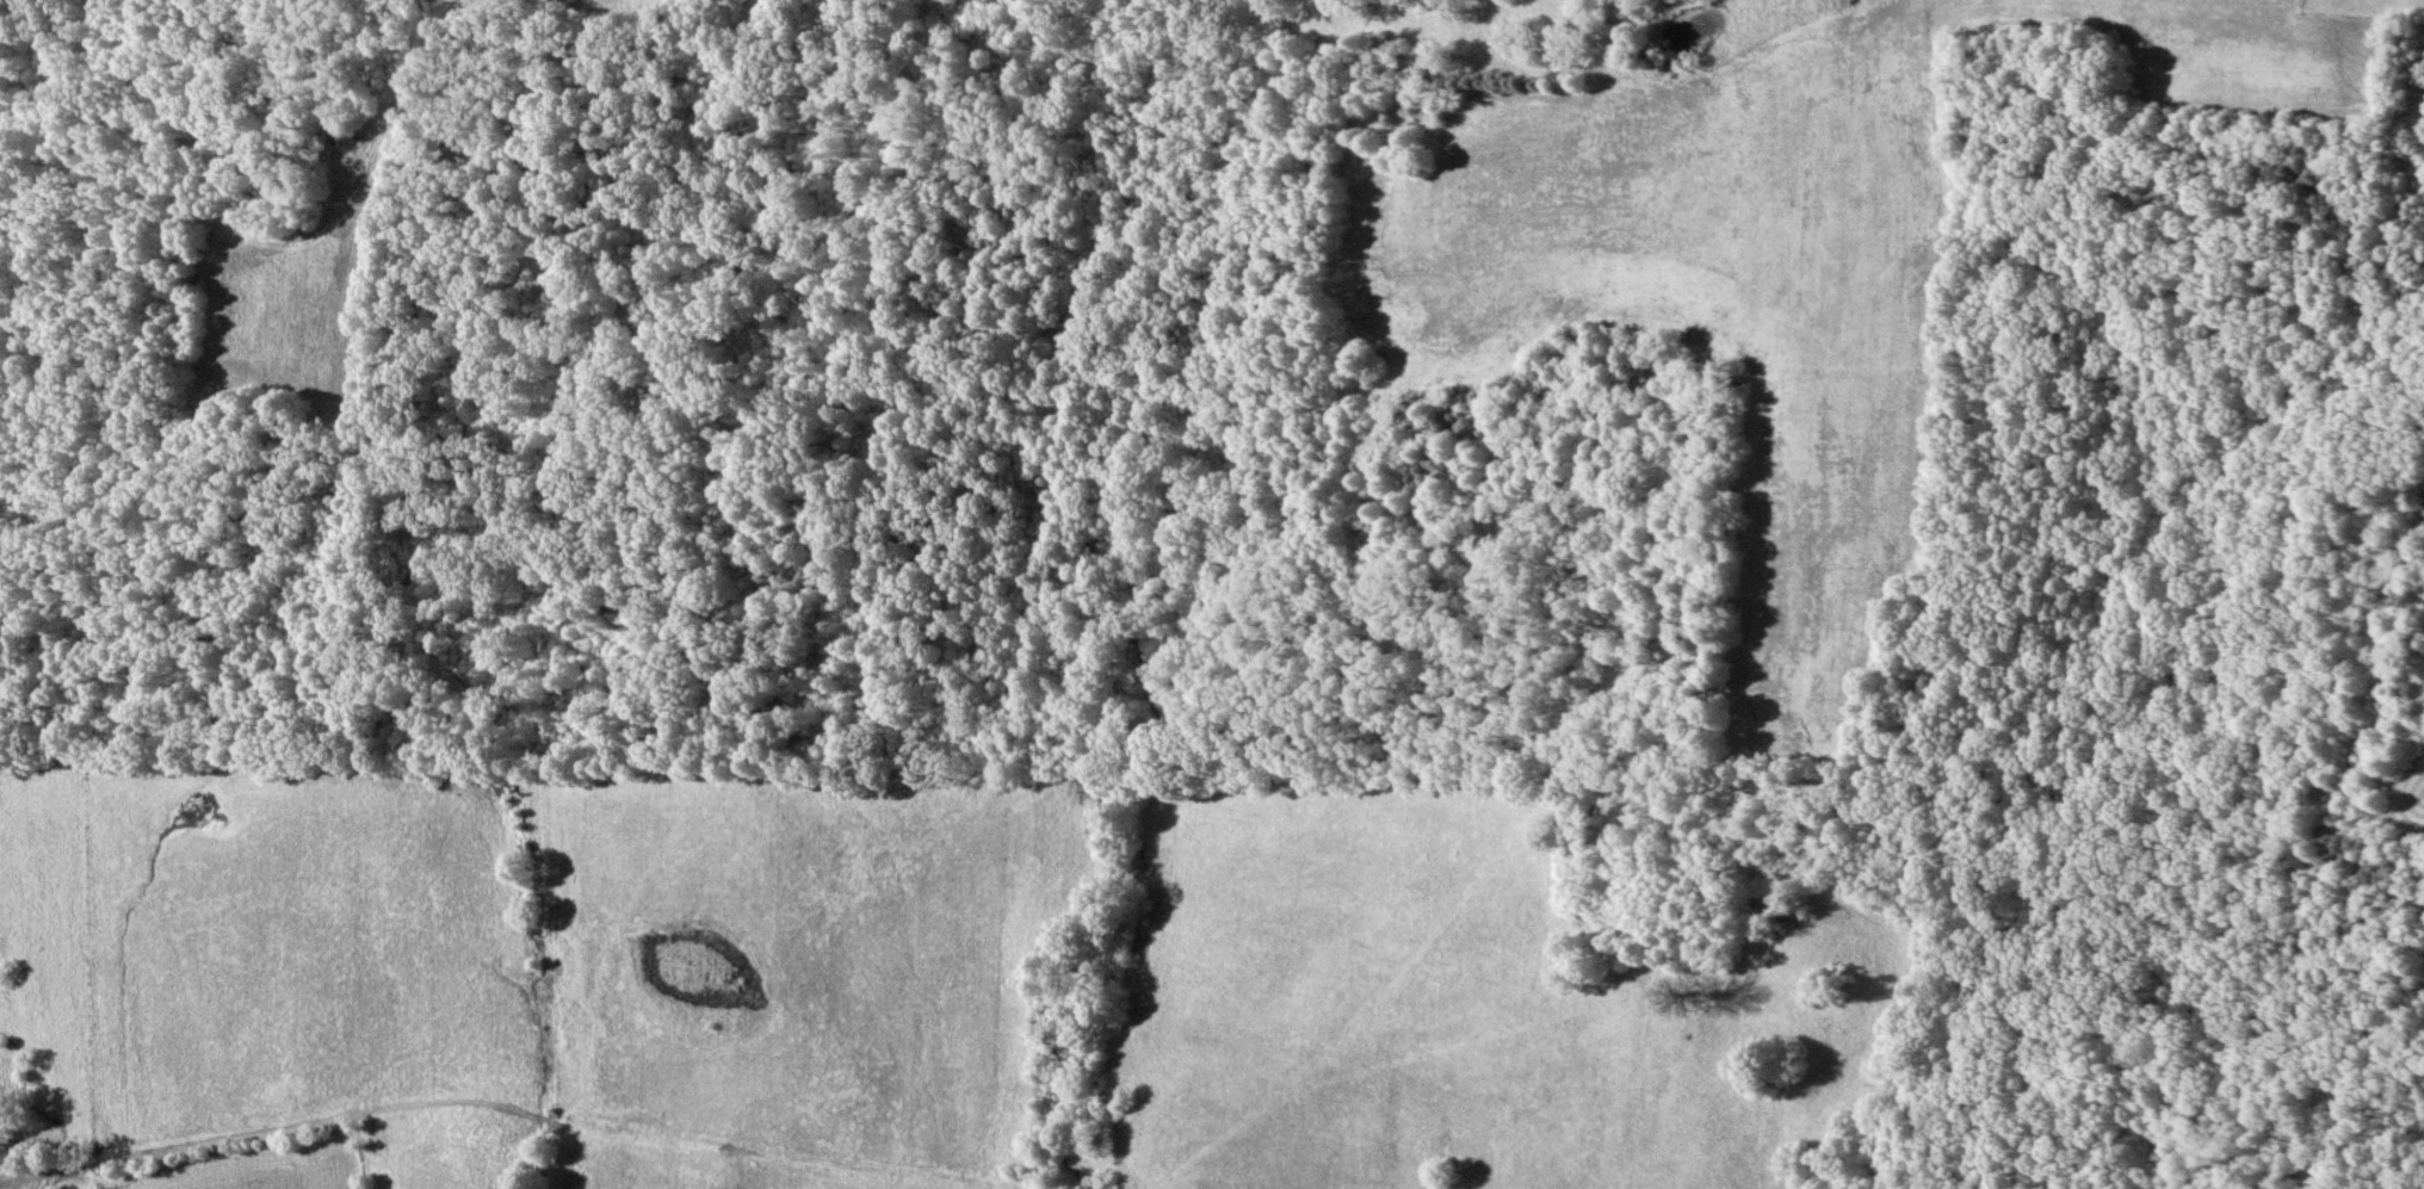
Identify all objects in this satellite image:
building: (4, 1137)
road: (12, 1173)

